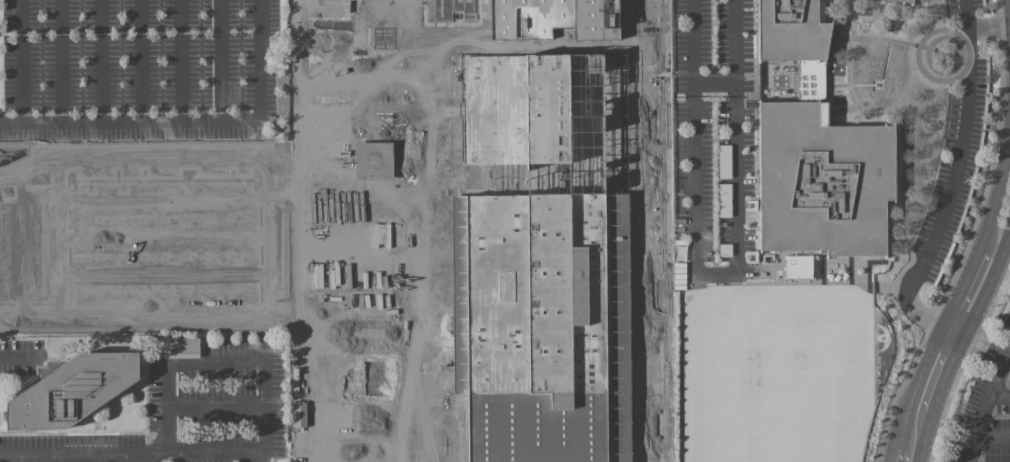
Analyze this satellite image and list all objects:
building: (454, 1)
building: (906, 1)
railway: (626, 24)
road: (989, 30)
road: (362, 37)
road: (693, 41)
road: (733, 42)
road: (181, 61)
road: (221, 61)
road: (21, 62)
road: (61, 62)
road: (101, 62)
road: (141, 62)
parking lot: (137, 69)
road: (321, 83)
road: (714, 83)
road: (734, 89)
road: (188, 123)
parking lot: (956, 133)
parking lot: (715, 137)
helipad: (202, 144)
building: (58, 151)
building: (817, 152)
building: (28, 156)
building: (60, 161)
road: (296, 163)
building: (381, 164)
road: (955, 175)
road: (998, 191)
building: (40, 196)
road: (429, 230)
road: (640, 230)
railway: (662, 231)
building: (541, 233)
road: (377, 259)
building: (63, 264)
building: (798, 266)
road: (710, 273)
road: (989, 280)
road: (962, 287)
road: (364, 296)
building: (322, 304)
building: (62, 308)
road: (955, 330)
road: (325, 340)
road: (987, 344)
building: (180, 347)
road: (1009, 355)
road: (20, 358)
road: (264, 360)
road: (949, 373)
park: (775, 384)
road: (919, 385)
building: (71, 390)
road: (999, 397)
road: (215, 403)
road: (984, 405)
parking lot: (985, 414)
road: (367, 416)
road: (991, 432)
road: (925, 437)
road: (297, 438)
road: (83, 452)
road: (898, 455)
road: (261, 456)

